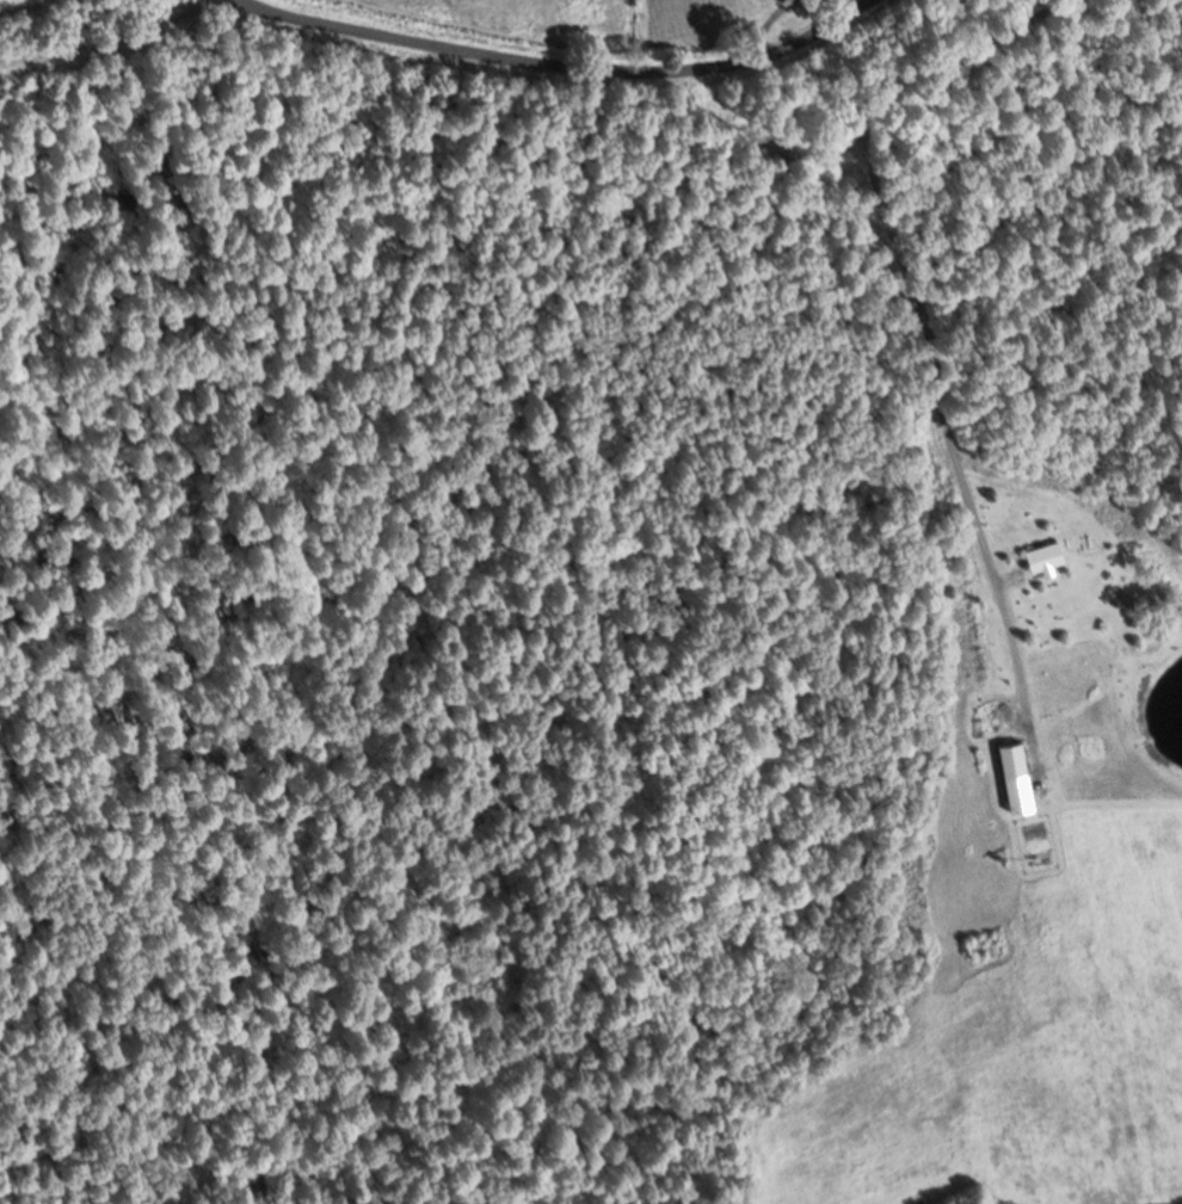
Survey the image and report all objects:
road: (107, 42)
road: (559, 69)

